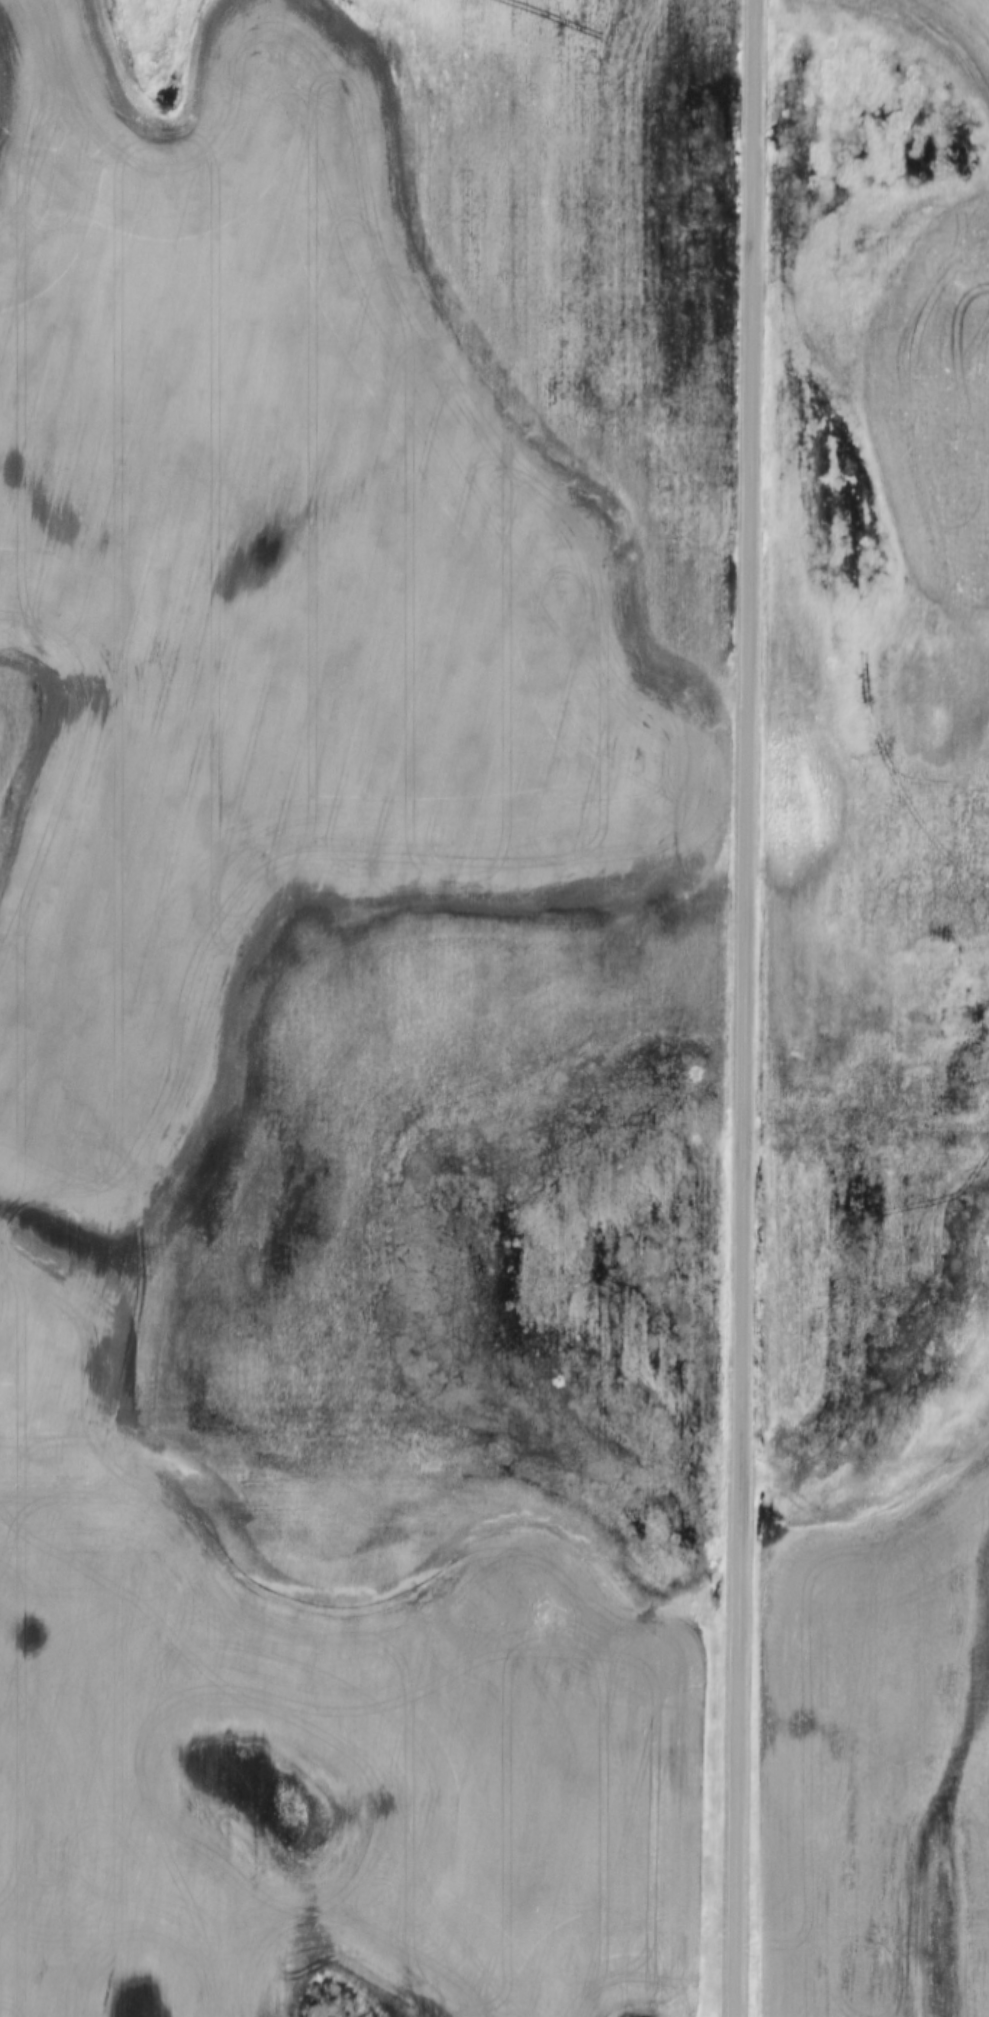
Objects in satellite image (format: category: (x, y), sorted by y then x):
road: (740, 1008)

